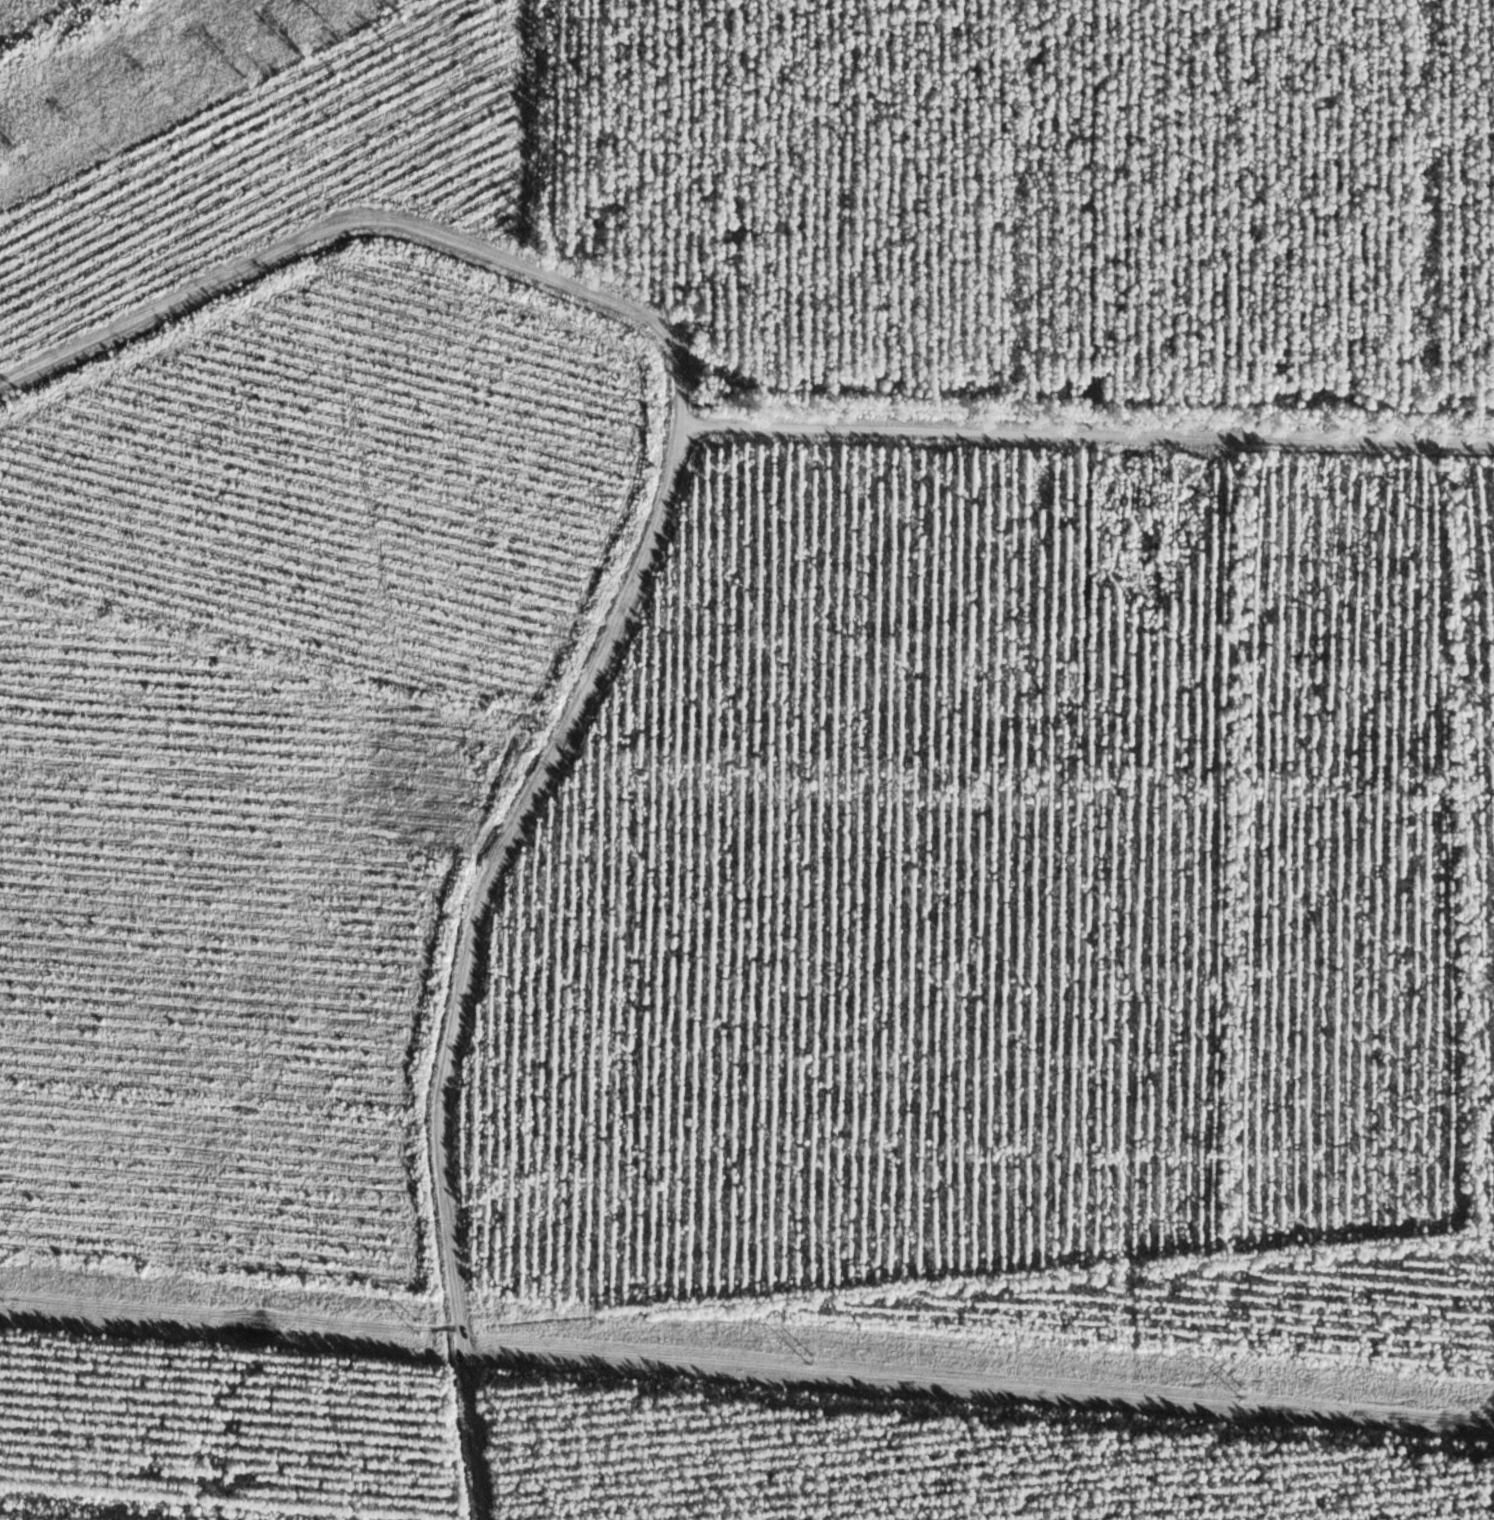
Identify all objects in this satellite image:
road: (349, 276)
road: (1079, 464)
road: (438, 964)
power tower: (1, 1291)
power tower: (413, 1324)
power tower: (808, 1355)
power tower: (1240, 1391)

